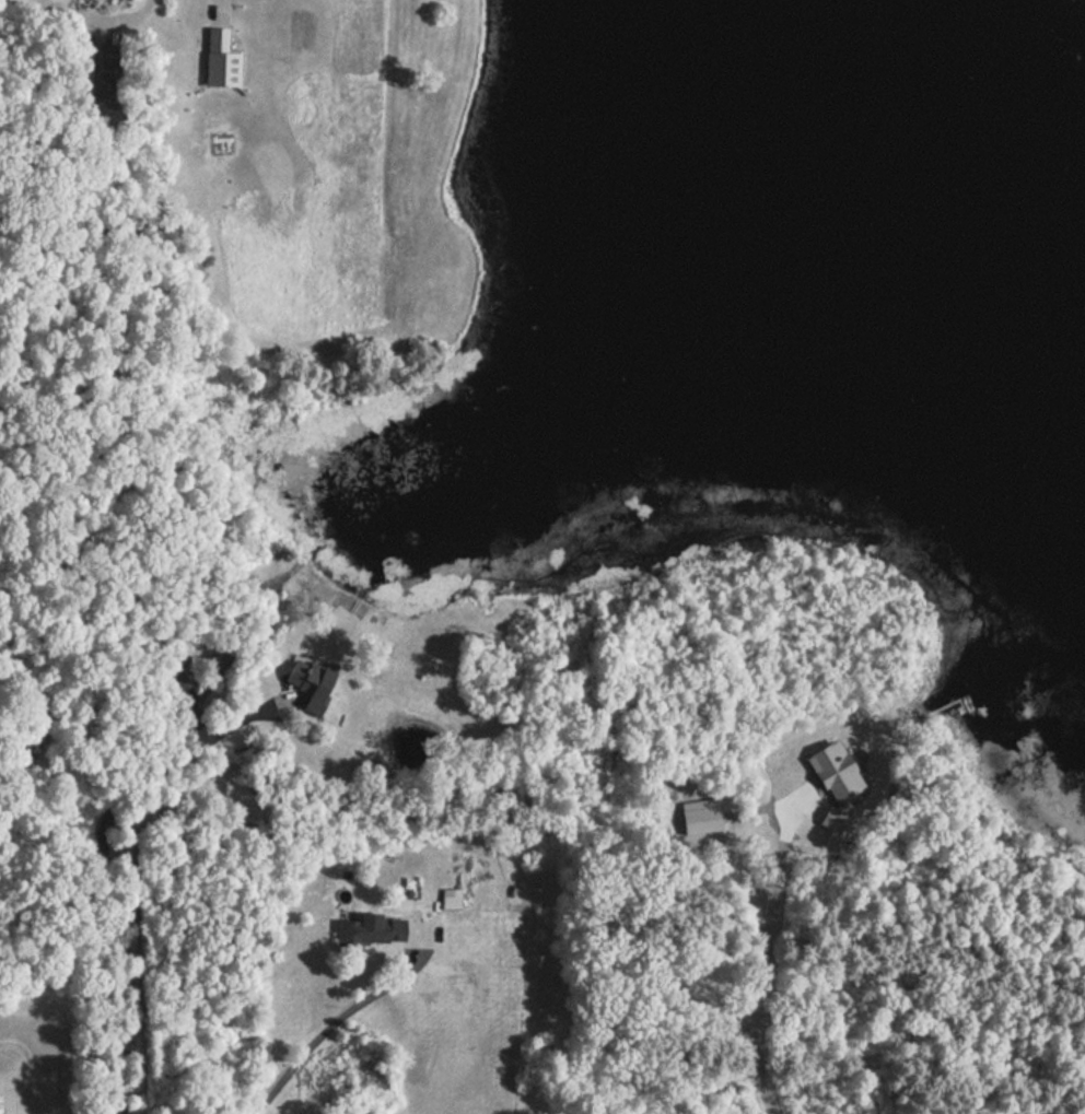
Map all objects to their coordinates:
road: (107, 872)
building: (448, 896)
building: (364, 931)
road: (770, 965)
road: (335, 1024)

